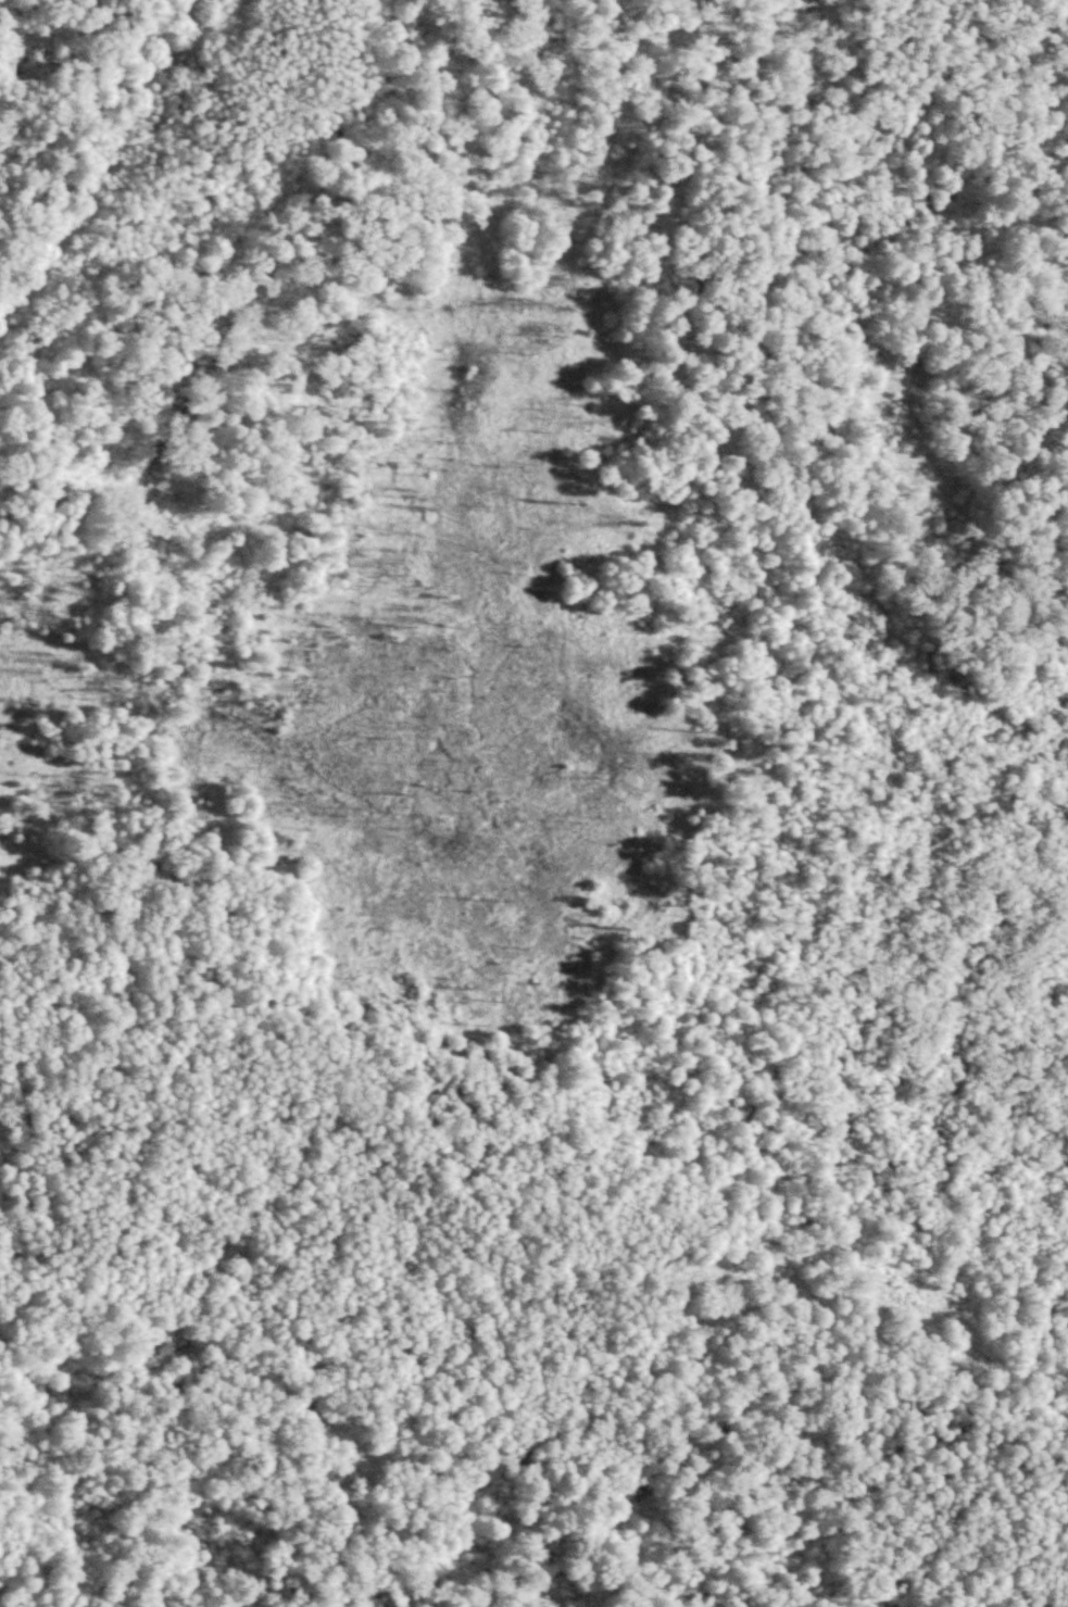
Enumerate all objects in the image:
road: (49, 48)
road: (834, 828)

